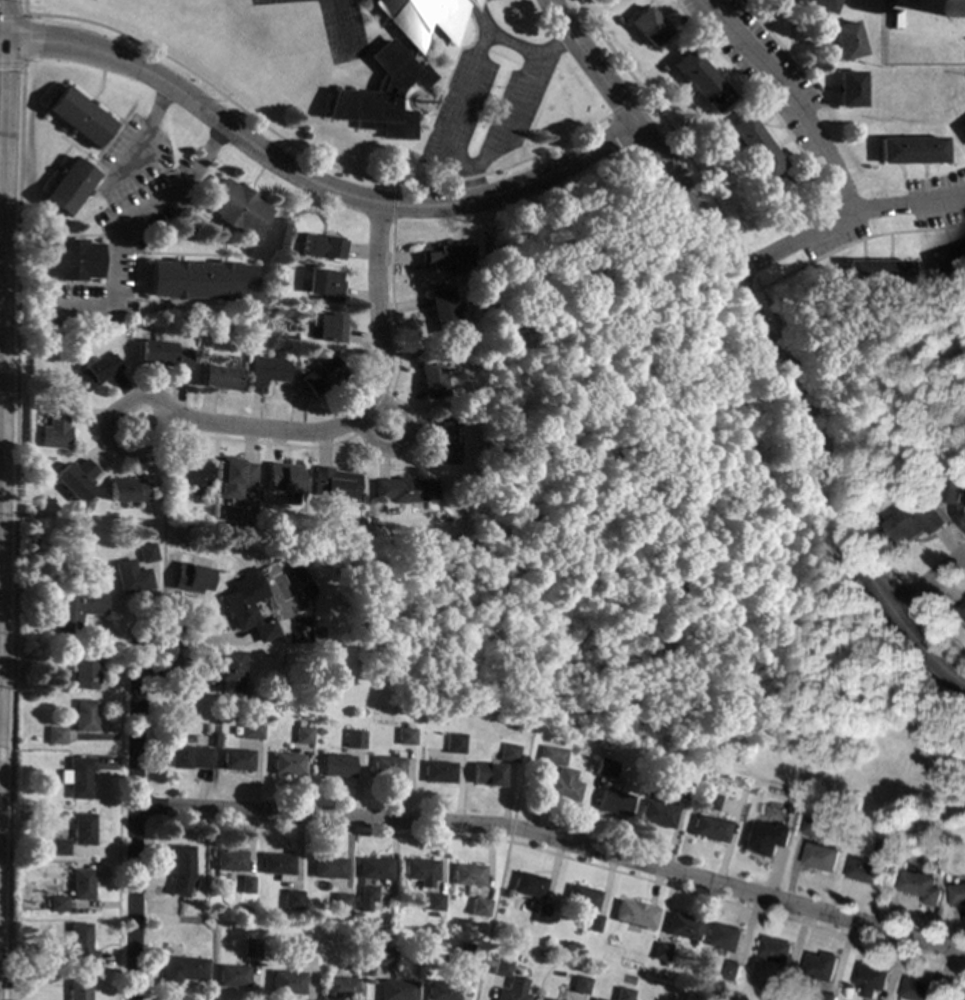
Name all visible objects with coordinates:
water tower: (937, 4)
building: (819, 5)
building: (617, 20)
road: (5, 21)
building: (647, 27)
road: (341, 29)
building: (847, 40)
road: (2, 42)
road: (514, 47)
road: (550, 48)
road: (964, 57)
building: (397, 66)
building: (659, 68)
building: (699, 81)
road: (4, 89)
building: (850, 89)
road: (789, 98)
building: (77, 118)
building: (963, 127)
building: (719, 135)
road: (149, 140)
road: (3, 143)
building: (753, 147)
building: (911, 150)
road: (313, 182)
building: (68, 187)
building: (234, 208)
road: (842, 220)
road: (1, 221)
road: (120, 225)
building: (320, 247)
building: (446, 258)
building: (68, 260)
building: (949, 261)
building: (875, 273)
building: (200, 280)
building: (324, 285)
road: (739, 295)
building: (441, 311)
road: (115, 313)
building: (330, 328)
building: (414, 353)
building: (165, 354)
road: (129, 364)
building: (94, 373)
building: (267, 373)
building: (322, 376)
building: (220, 377)
building: (430, 378)
road: (361, 406)
park: (880, 410)
road: (513, 411)
building: (54, 426)
road: (104, 436)
building: (444, 440)
road: (401, 444)
building: (187, 471)
building: (231, 478)
building: (74, 479)
building: (281, 480)
building: (955, 482)
building: (330, 484)
building: (910, 485)
building: (402, 490)
building: (125, 491)
building: (915, 521)
road: (164, 526)
building: (372, 528)
park: (634, 531)
building: (146, 553)
building: (130, 577)
building: (190, 578)
road: (928, 583)
building: (962, 609)
building: (76, 610)
building: (248, 610)
road: (591, 627)
road: (128, 630)
road: (923, 653)
building: (84, 669)
building: (230, 672)
building: (84, 716)
building: (301, 723)
building: (253, 732)
building: (56, 735)
building: (305, 735)
building: (407, 736)
building: (506, 738)
building: (356, 739)
building: (455, 743)
building: (510, 753)
building: (553, 755)
building: (189, 757)
building: (237, 760)
building: (289, 764)
building: (339, 766)
building: (390, 766)
building: (606, 768)
building: (440, 772)
building: (488, 774)
building: (77, 777)
building: (564, 785)
building: (681, 789)
building: (710, 800)
building: (614, 802)
building: (658, 812)
road: (132, 819)
building: (789, 822)
road: (132, 824)
building: (812, 826)
building: (712, 828)
building: (82, 829)
building: (766, 839)
road: (555, 840)
building: (59, 847)
building: (884, 848)
building: (820, 856)
building: (229, 860)
building: (277, 866)
building: (327, 867)
road: (4, 868)
building: (374, 868)
building: (180, 870)
building: (863, 870)
building: (420, 871)
building: (467, 875)
building: (81, 884)
building: (245, 885)
building: (528, 885)
building: (920, 886)
building: (366, 893)
building: (956, 894)
building: (582, 898)
building: (290, 900)
building: (340, 902)
building: (433, 902)
building: (57, 904)
building: (478, 907)
building: (540, 914)
building: (634, 914)
building: (593, 923)
building: (683, 927)
road: (8, 934)
building: (723, 937)
building: (80, 947)
building: (251, 948)
building: (302, 948)
building: (774, 950)
building: (660, 951)
building: (358, 955)
building: (385, 957)
building: (463, 960)
building: (820, 966)
building: (501, 967)
building: (183, 969)
building: (732, 971)
building: (232, 976)
building: (870, 978)
building: (286, 981)
building: (579, 985)
building: (339, 988)
building: (77, 989)
building: (773, 989)
building: (396, 990)
building: (442, 990)
building: (512, 990)
building: (917, 990)
building: (623, 994)
building: (823, 996)
building: (544, 999)
building: (596, 999)

